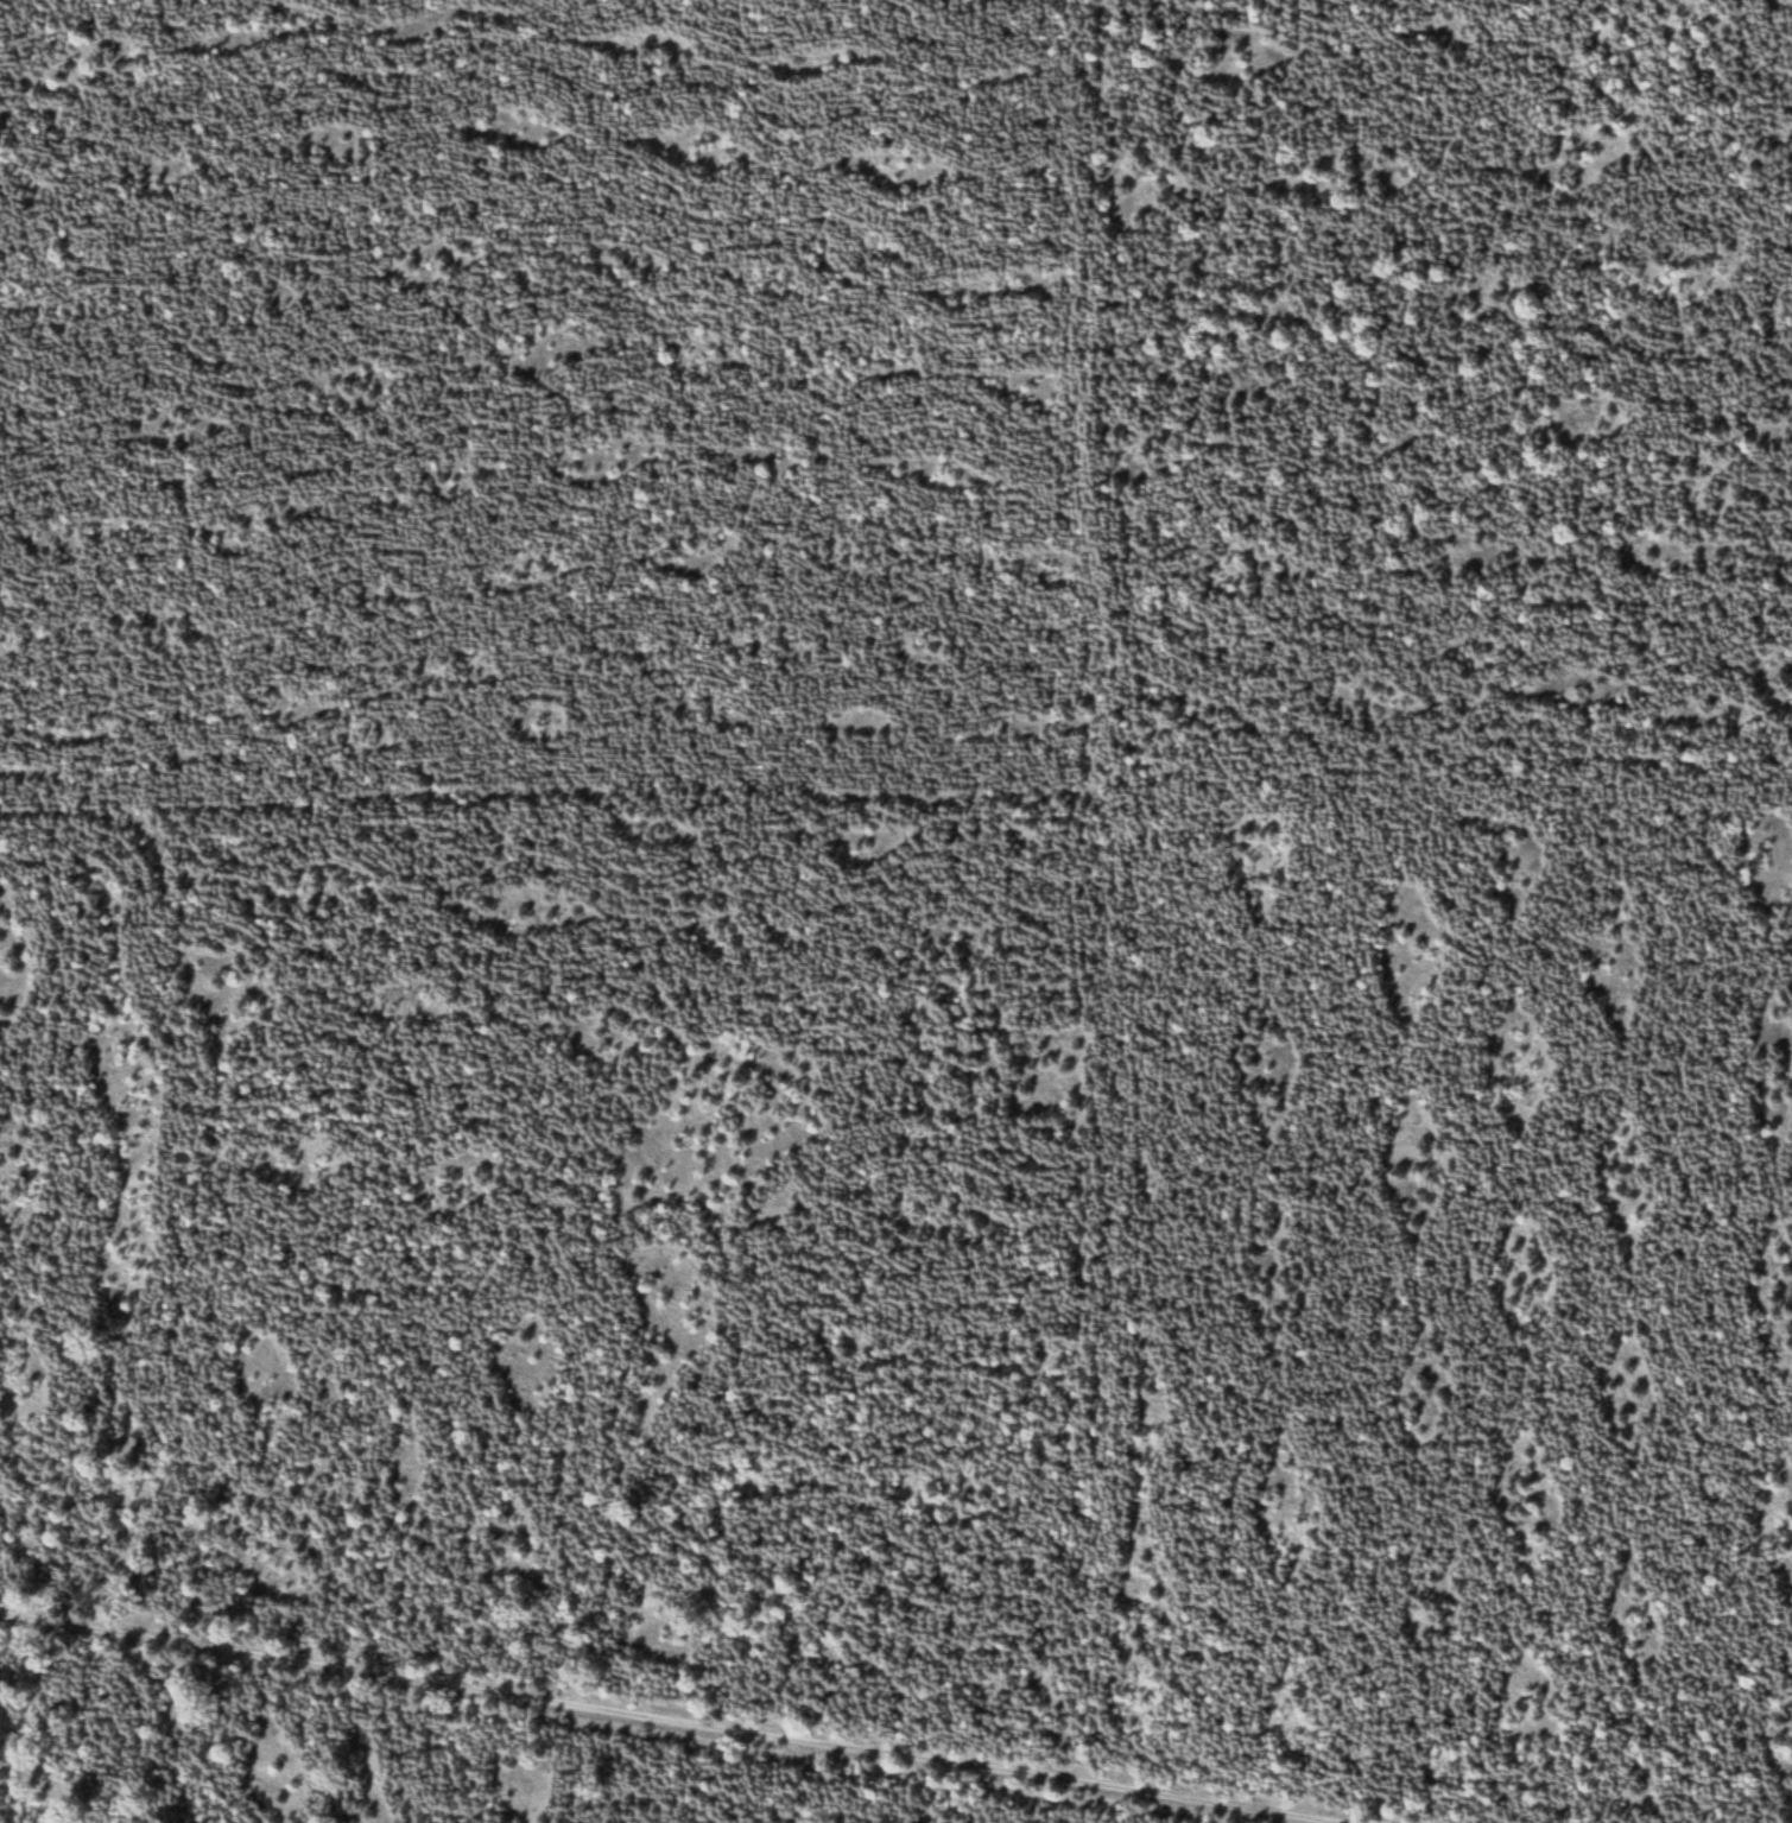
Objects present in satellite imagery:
road: (705, 1715)

